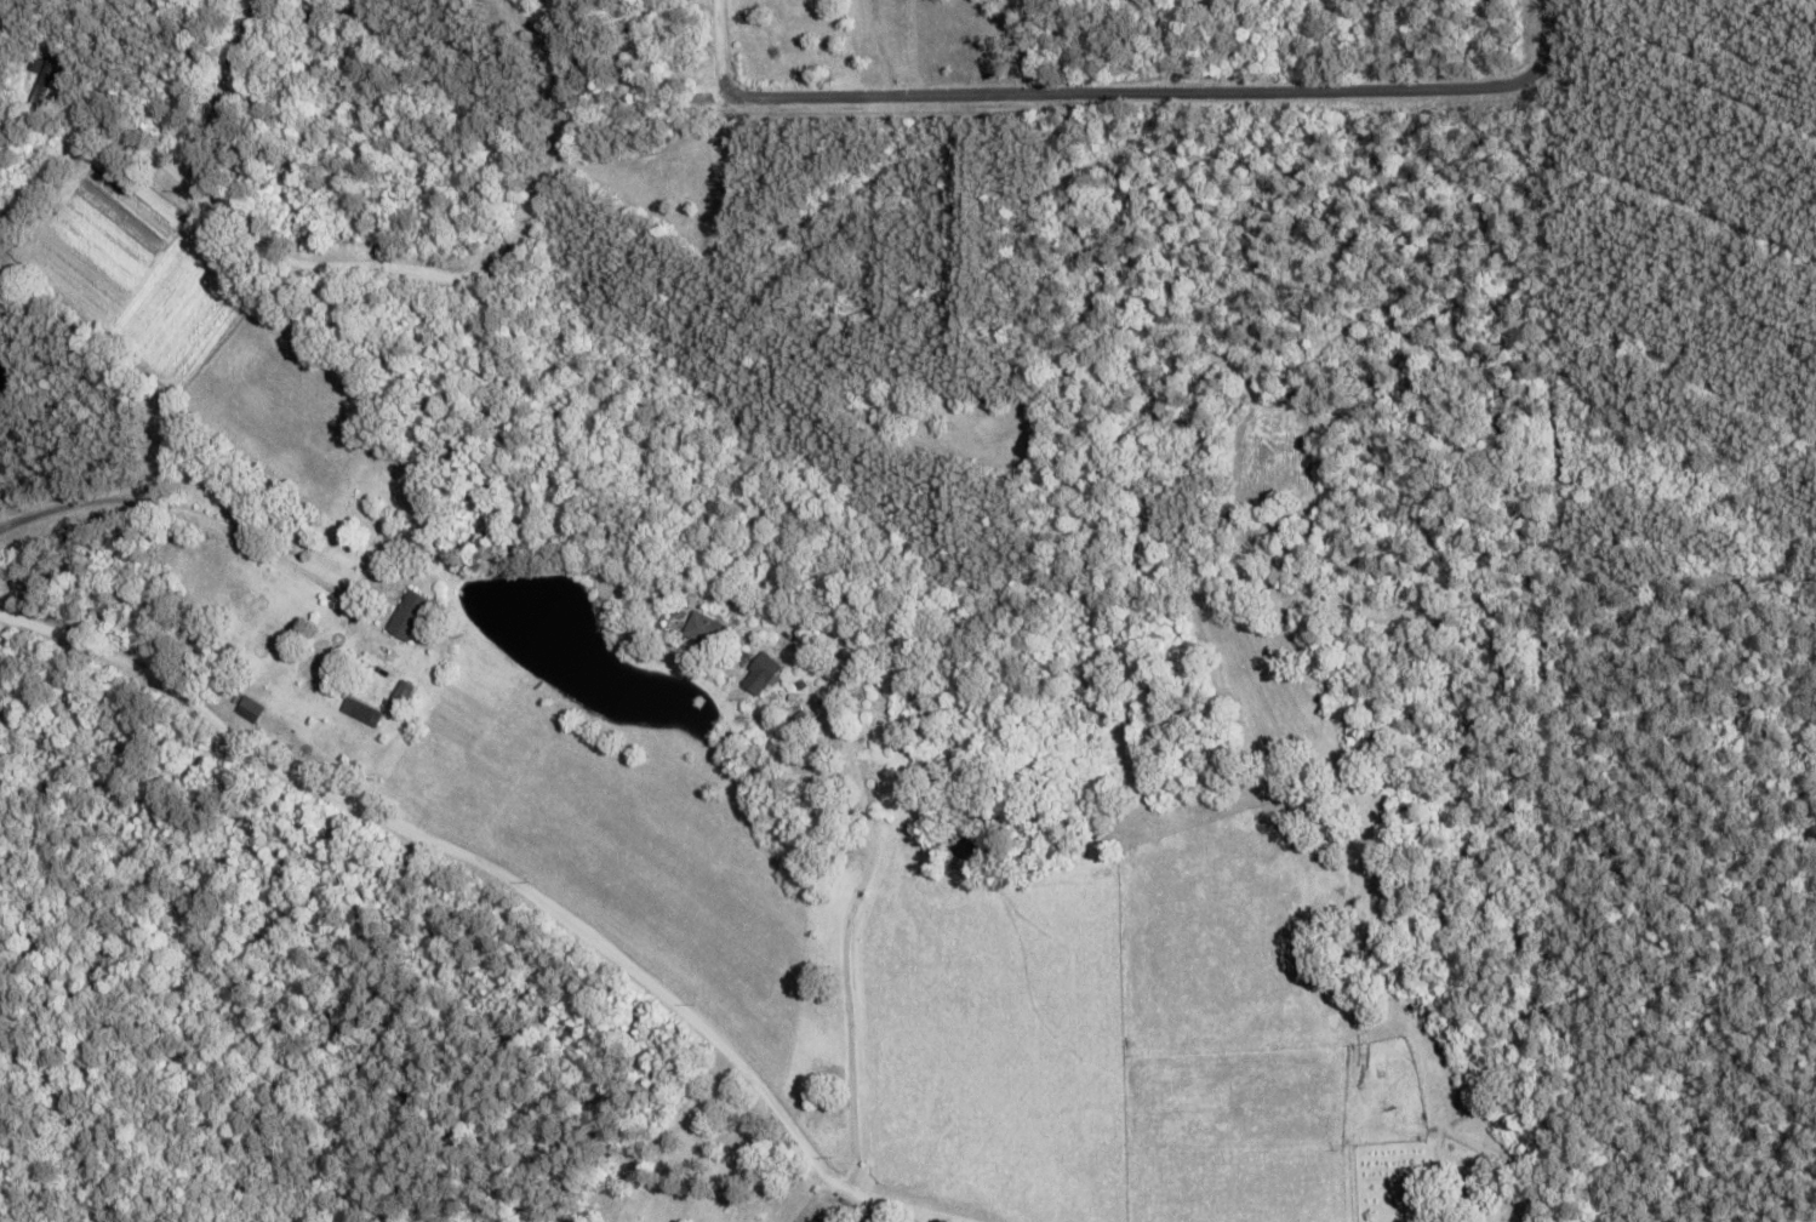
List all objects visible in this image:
road: (1120, 92)
road: (269, 250)
road: (184, 513)
building: (407, 615)
building: (704, 628)
building: (765, 667)
building: (401, 692)
building: (249, 708)
building: (361, 710)
road: (520, 879)

